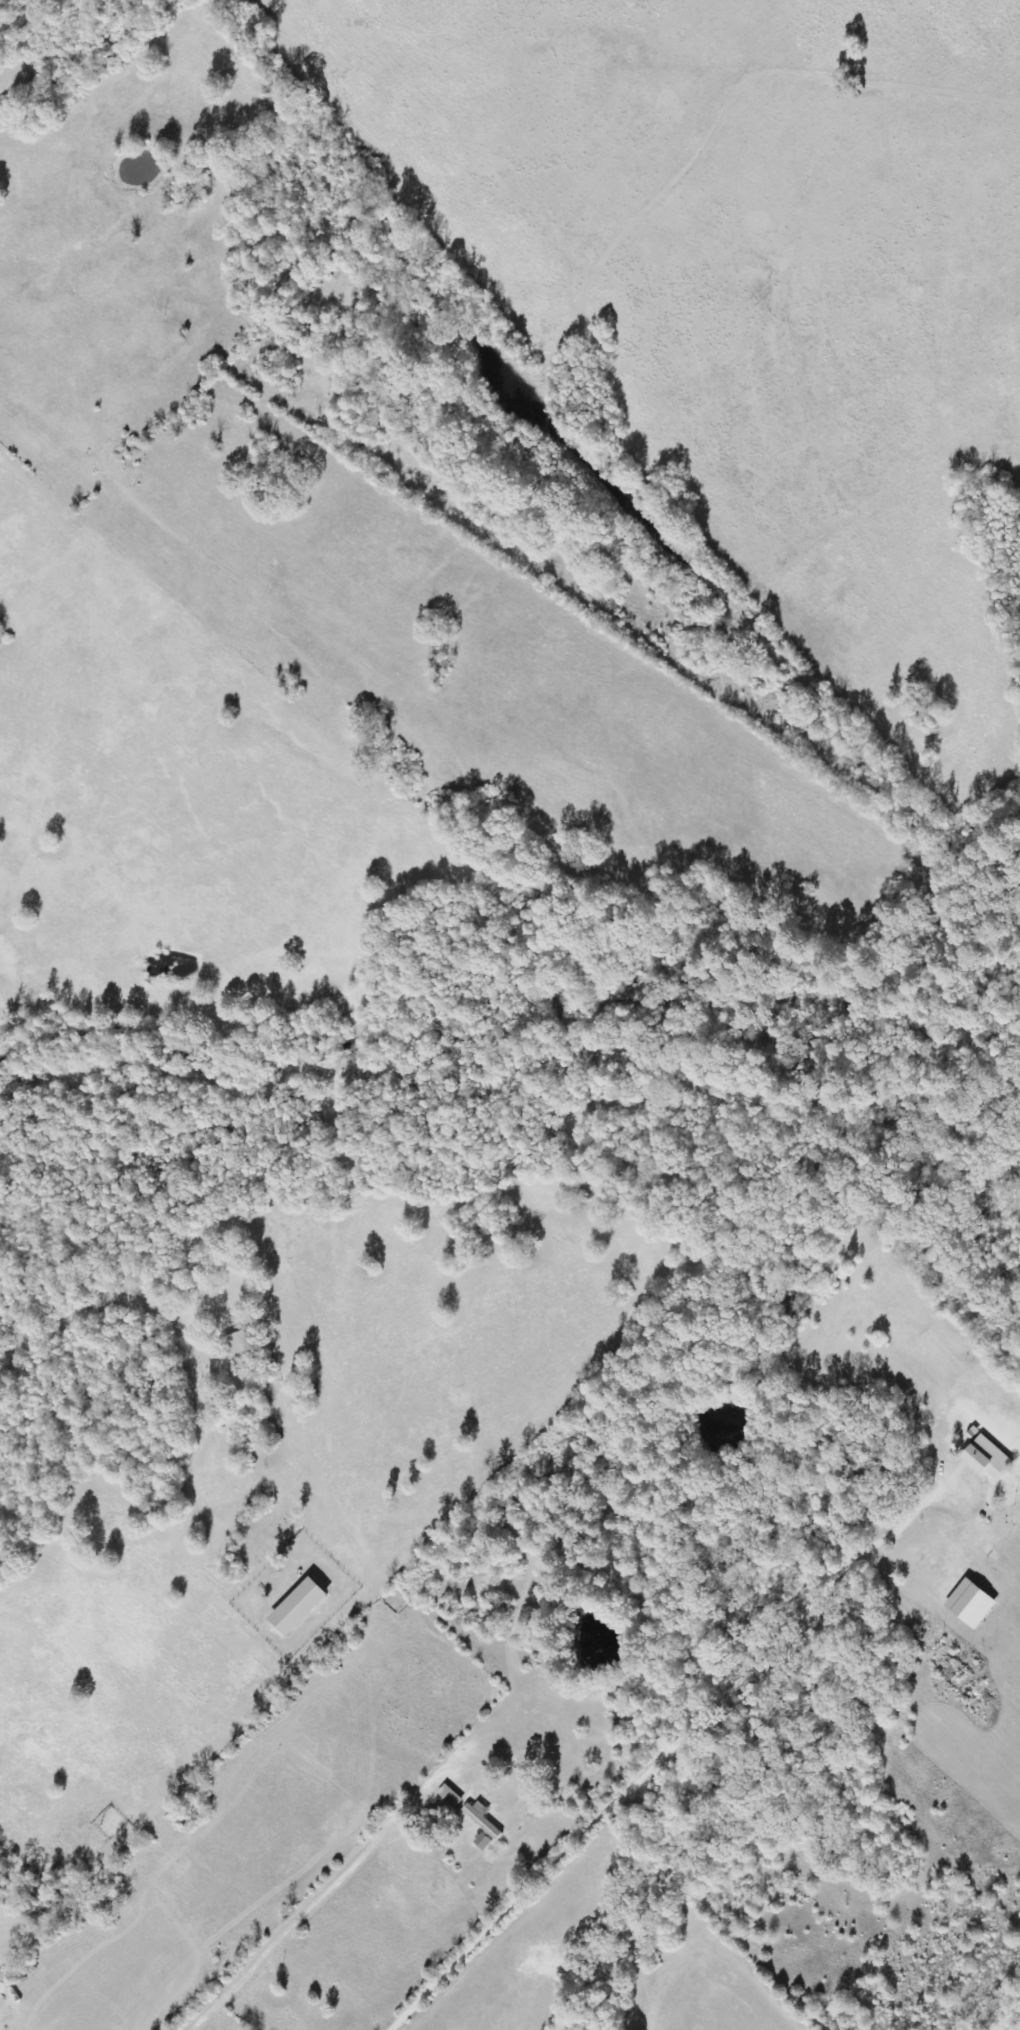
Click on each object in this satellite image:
road: (0, 0)
building: (239, 1345)
building: (986, 1455)
building: (972, 1604)
building: (300, 1607)
building: (450, 1796)
building: (483, 1819)
building: (484, 1842)
road: (488, 1889)
road: (670, 1925)

